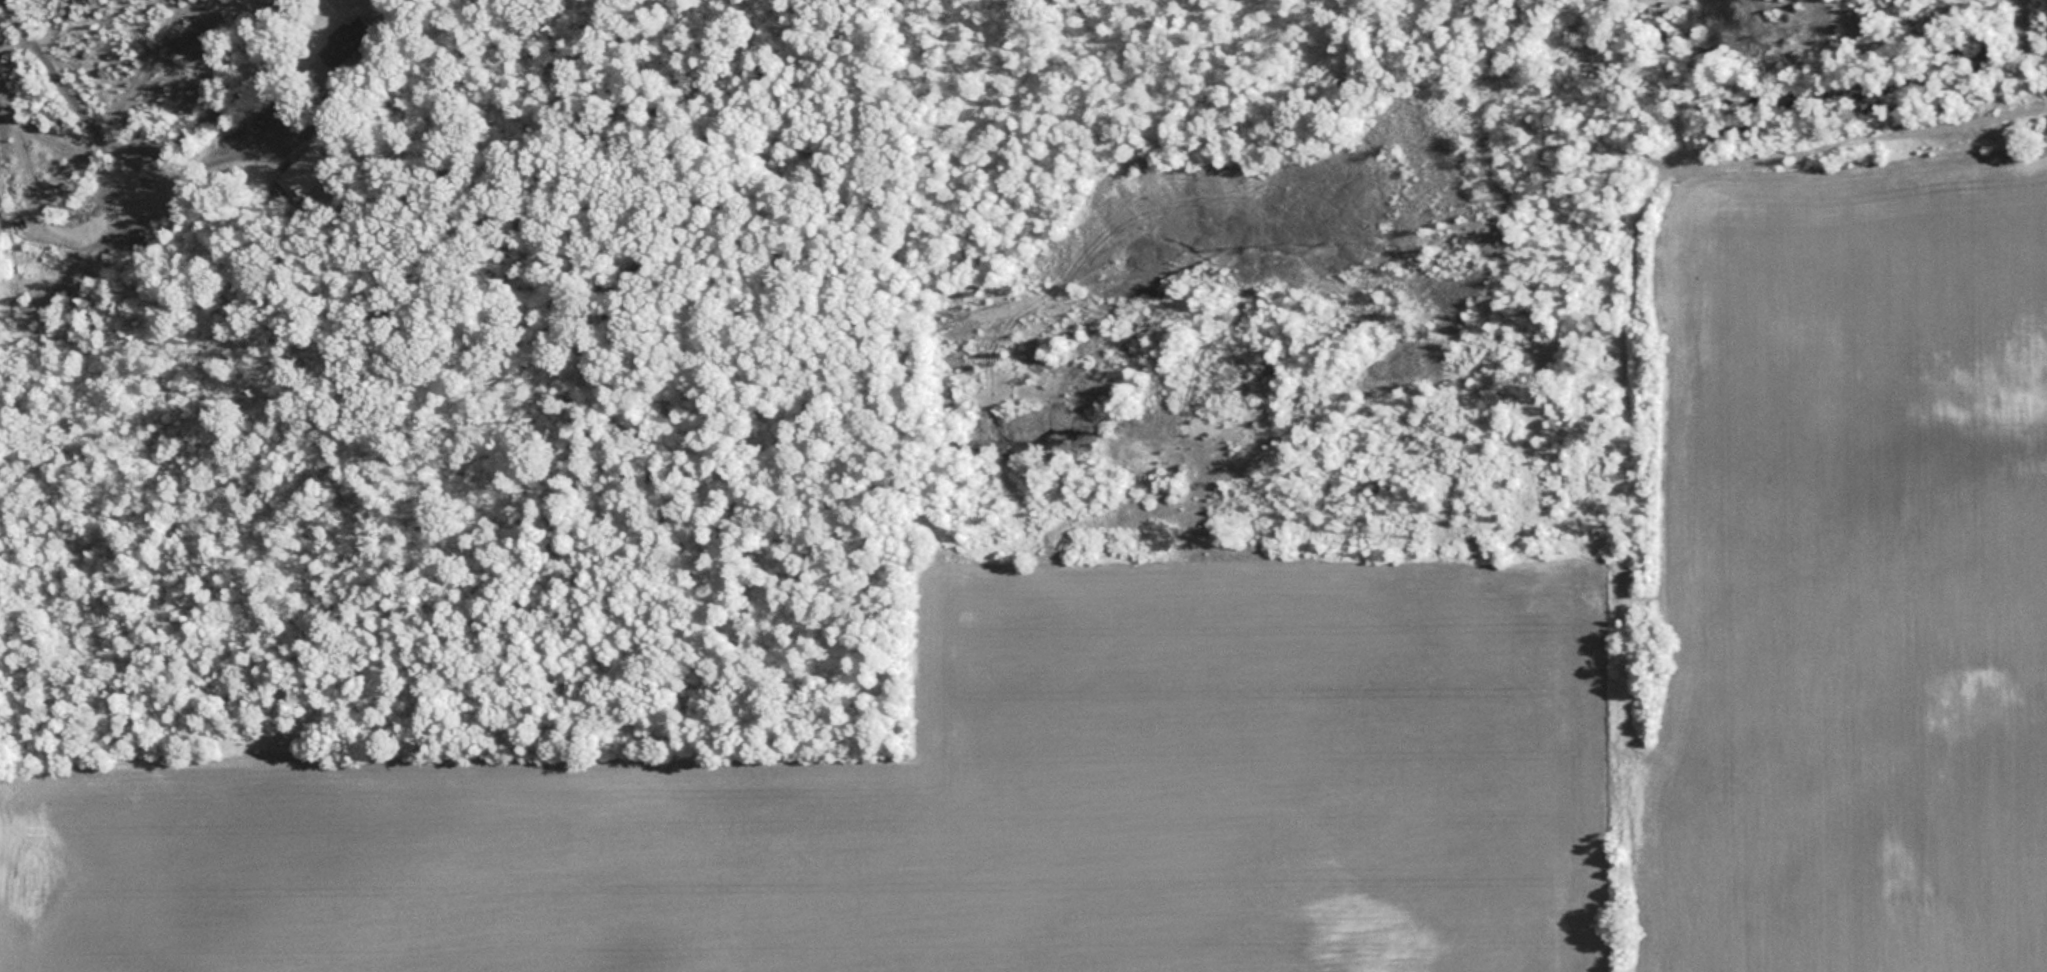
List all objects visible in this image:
building: (347, 43)
road: (165, 155)
road: (1632, 356)
road: (866, 571)

